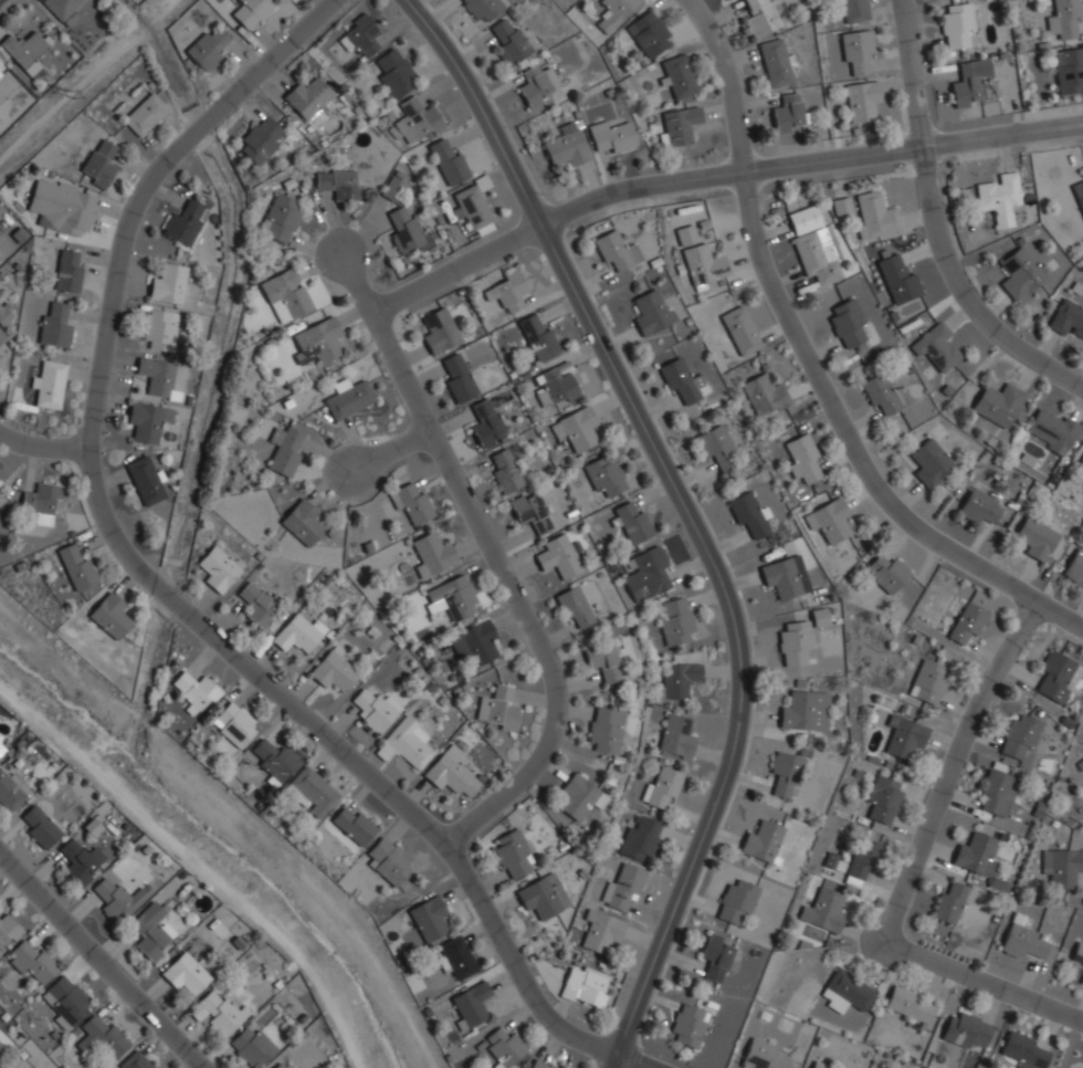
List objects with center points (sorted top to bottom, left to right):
building: (481, 8)
building: (64, 10)
building: (854, 10)
building: (251, 11)
building: (614, 12)
building: (761, 17)
building: (1065, 21)
building: (958, 24)
building: (649, 33)
building: (361, 36)
building: (511, 42)
building: (207, 46)
building: (25, 51)
building: (858, 51)
building: (777, 62)
building: (1069, 70)
building: (395, 72)
building: (0, 73)
building: (677, 76)
building: (974, 82)
building: (535, 86)
power tower: (71, 95)
building: (861, 98)
building: (307, 100)
building: (145, 114)
building: (789, 114)
building: (417, 117)
building: (680, 125)
building: (611, 136)
building: (259, 140)
building: (567, 146)
building: (449, 161)
building: (98, 164)
road: (713, 171)
building: (338, 184)
building: (393, 188)
building: (1079, 192)
building: (1000, 198)
building: (62, 206)
building: (474, 206)
building: (842, 207)
building: (875, 216)
building: (281, 218)
building: (805, 219)
road: (943, 219)
building: (185, 223)
building: (407, 231)
building: (686, 234)
building: (617, 251)
building: (817, 255)
building: (705, 264)
building: (67, 271)
building: (1020, 273)
building: (898, 279)
building: (168, 284)
building: (287, 292)
building: (506, 292)
building: (4, 312)
building: (652, 312)
building: (1068, 318)
building: (848, 322)
building: (54, 326)
building: (159, 329)
building: (740, 329)
building: (439, 331)
building: (1, 336)
building: (538, 336)
building: (317, 342)
building: (936, 346)
road: (814, 363)
building: (458, 377)
building: (156, 378)
building: (683, 380)
building: (49, 384)
building: (555, 386)
building: (765, 394)
building: (881, 394)
building: (348, 397)
building: (999, 404)
building: (147, 420)
building: (486, 423)
building: (576, 428)
building: (1053, 430)
building: (717, 447)
road: (42, 449)
building: (286, 449)
road: (391, 450)
building: (802, 458)
building: (930, 461)
building: (1081, 464)
building: (505, 471)
building: (604, 477)
building: (145, 480)
building: (411, 501)
building: (42, 503)
building: (979, 506)
building: (530, 512)
road: (688, 514)
building: (748, 514)
building: (830, 520)
building: (302, 522)
building: (631, 522)
building: (1037, 538)
building: (432, 554)
building: (559, 556)
road: (497, 558)
building: (76, 566)
building: (1075, 567)
building: (218, 568)
building: (646, 574)
building: (889, 575)
building: (786, 576)
road: (159, 589)
building: (452, 597)
building: (259, 606)
building: (575, 608)
building: (109, 615)
building: (819, 616)
building: (675, 622)
building: (967, 622)
building: (297, 634)
building: (795, 641)
building: (474, 642)
building: (604, 660)
building: (334, 669)
building: (1055, 677)
building: (679, 679)
building: (930, 681)
building: (196, 690)
building: (497, 708)
building: (375, 710)
building: (805, 711)
building: (235, 724)
building: (606, 729)
building: (676, 736)
building: (904, 736)
building: (0, 737)
building: (1021, 739)
building: (406, 743)
building: (1, 745)
building: (0, 750)
building: (273, 760)
building: (1080, 764)
building: (451, 772)
building: (786, 773)
building: (662, 786)
building: (12, 790)
building: (311, 792)
building: (577, 796)
building: (1007, 797)
building: (883, 798)
building: (353, 825)
building: (39, 826)
building: (641, 838)
building: (763, 841)
building: (513, 856)
building: (981, 857)
building: (856, 859)
building: (389, 860)
building: (81, 861)
building: (1062, 866)
road: (909, 875)
building: (623, 889)
building: (541, 896)
building: (116, 898)
building: (736, 901)
building: (949, 903)
building: (824, 911)
building: (429, 918)
building: (8, 931)
building: (600, 931)
building: (150, 932)
building: (1024, 942)
building: (1077, 955)
building: (455, 957)
building: (719, 957)
road: (101, 961)
building: (33, 963)
building: (186, 972)
building: (1082, 981)
building: (585, 986)
building: (845, 993)
building: (65, 1002)
building: (908, 1004)
building: (471, 1006)
building: (221, 1011)
building: (688, 1025)
building: (967, 1030)
building: (102, 1035)
building: (0, 1046)
building: (252, 1047)
building: (505, 1047)
building: (1023, 1051)
building: (764, 1055)
building: (135, 1060)
building: (539, 1064)
building: (280, 1065)
building: (822, 1065)
building: (10, 1066)
building: (1076, 1067)

